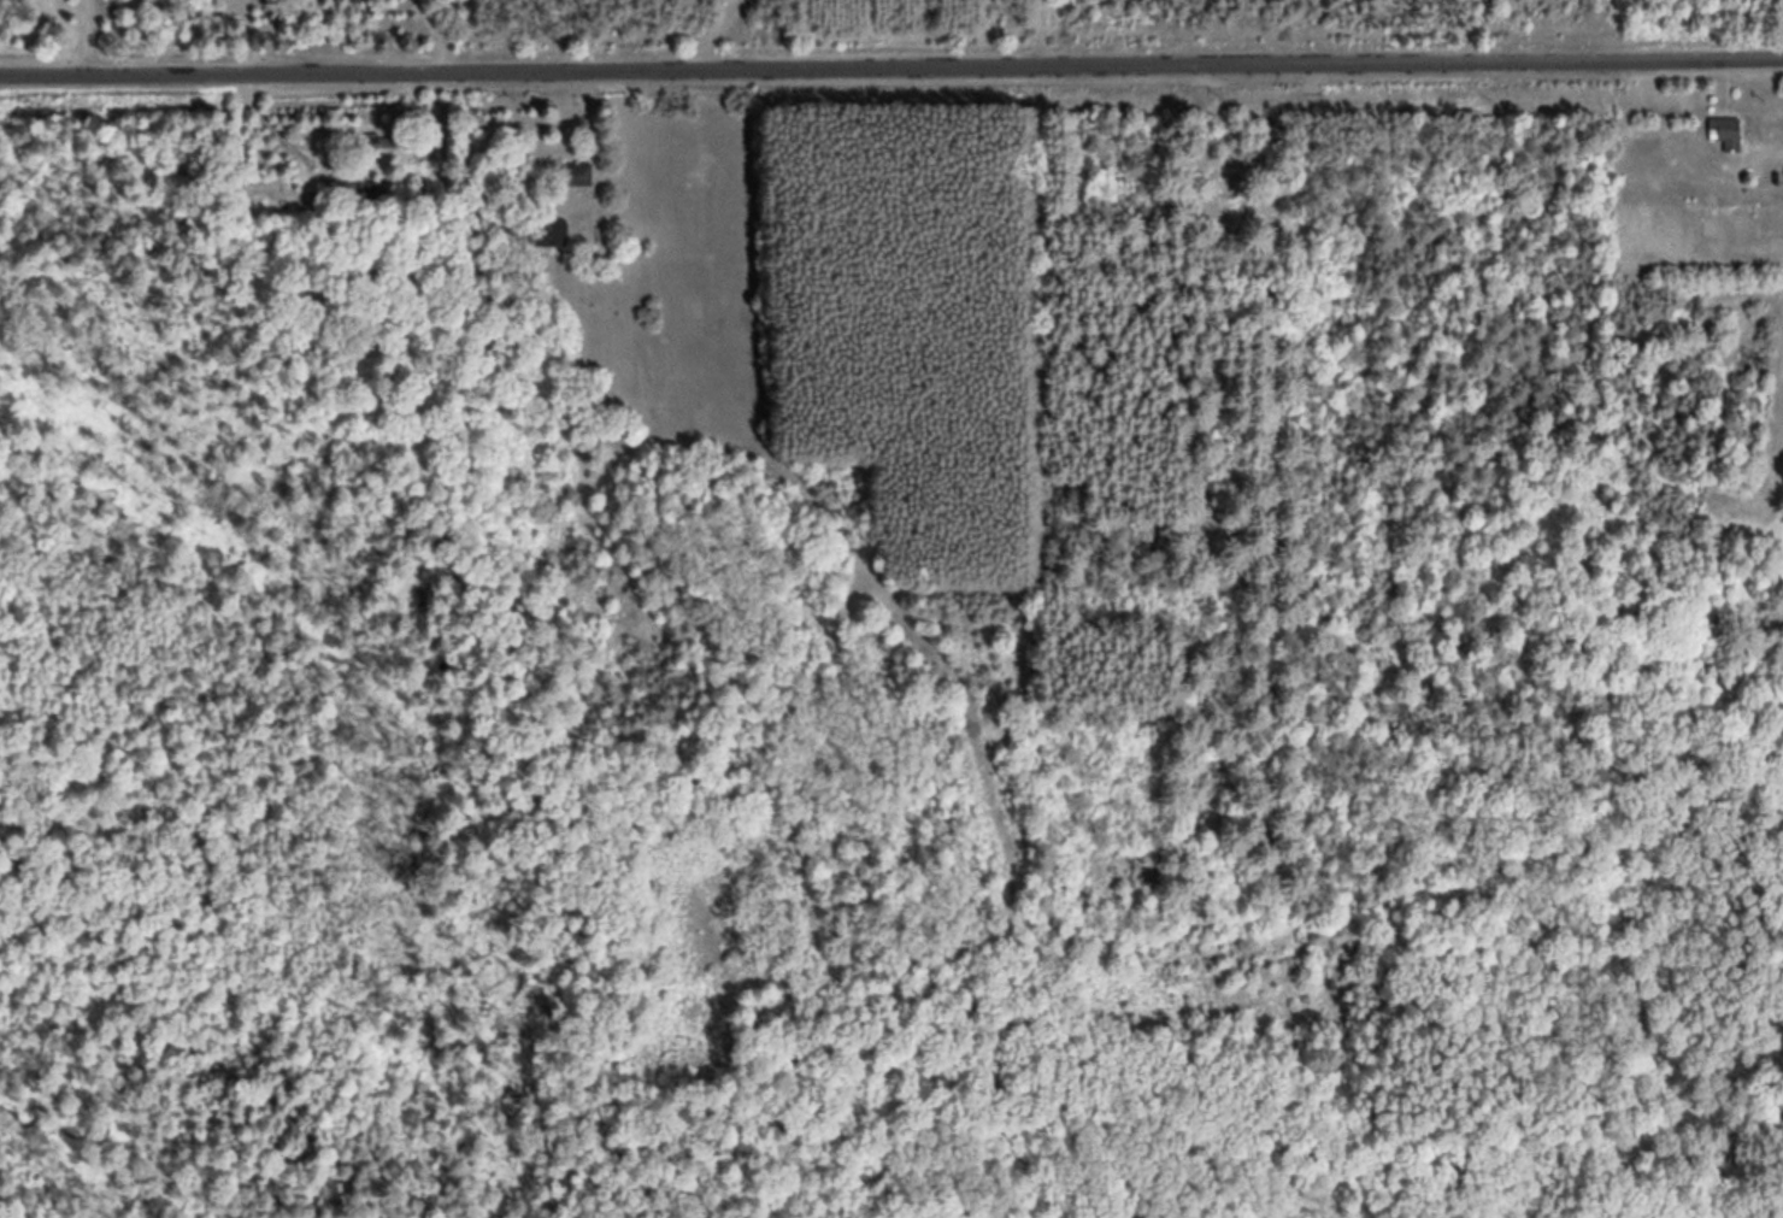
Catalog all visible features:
road: (891, 49)
building: (1725, 131)
building: (549, 231)

